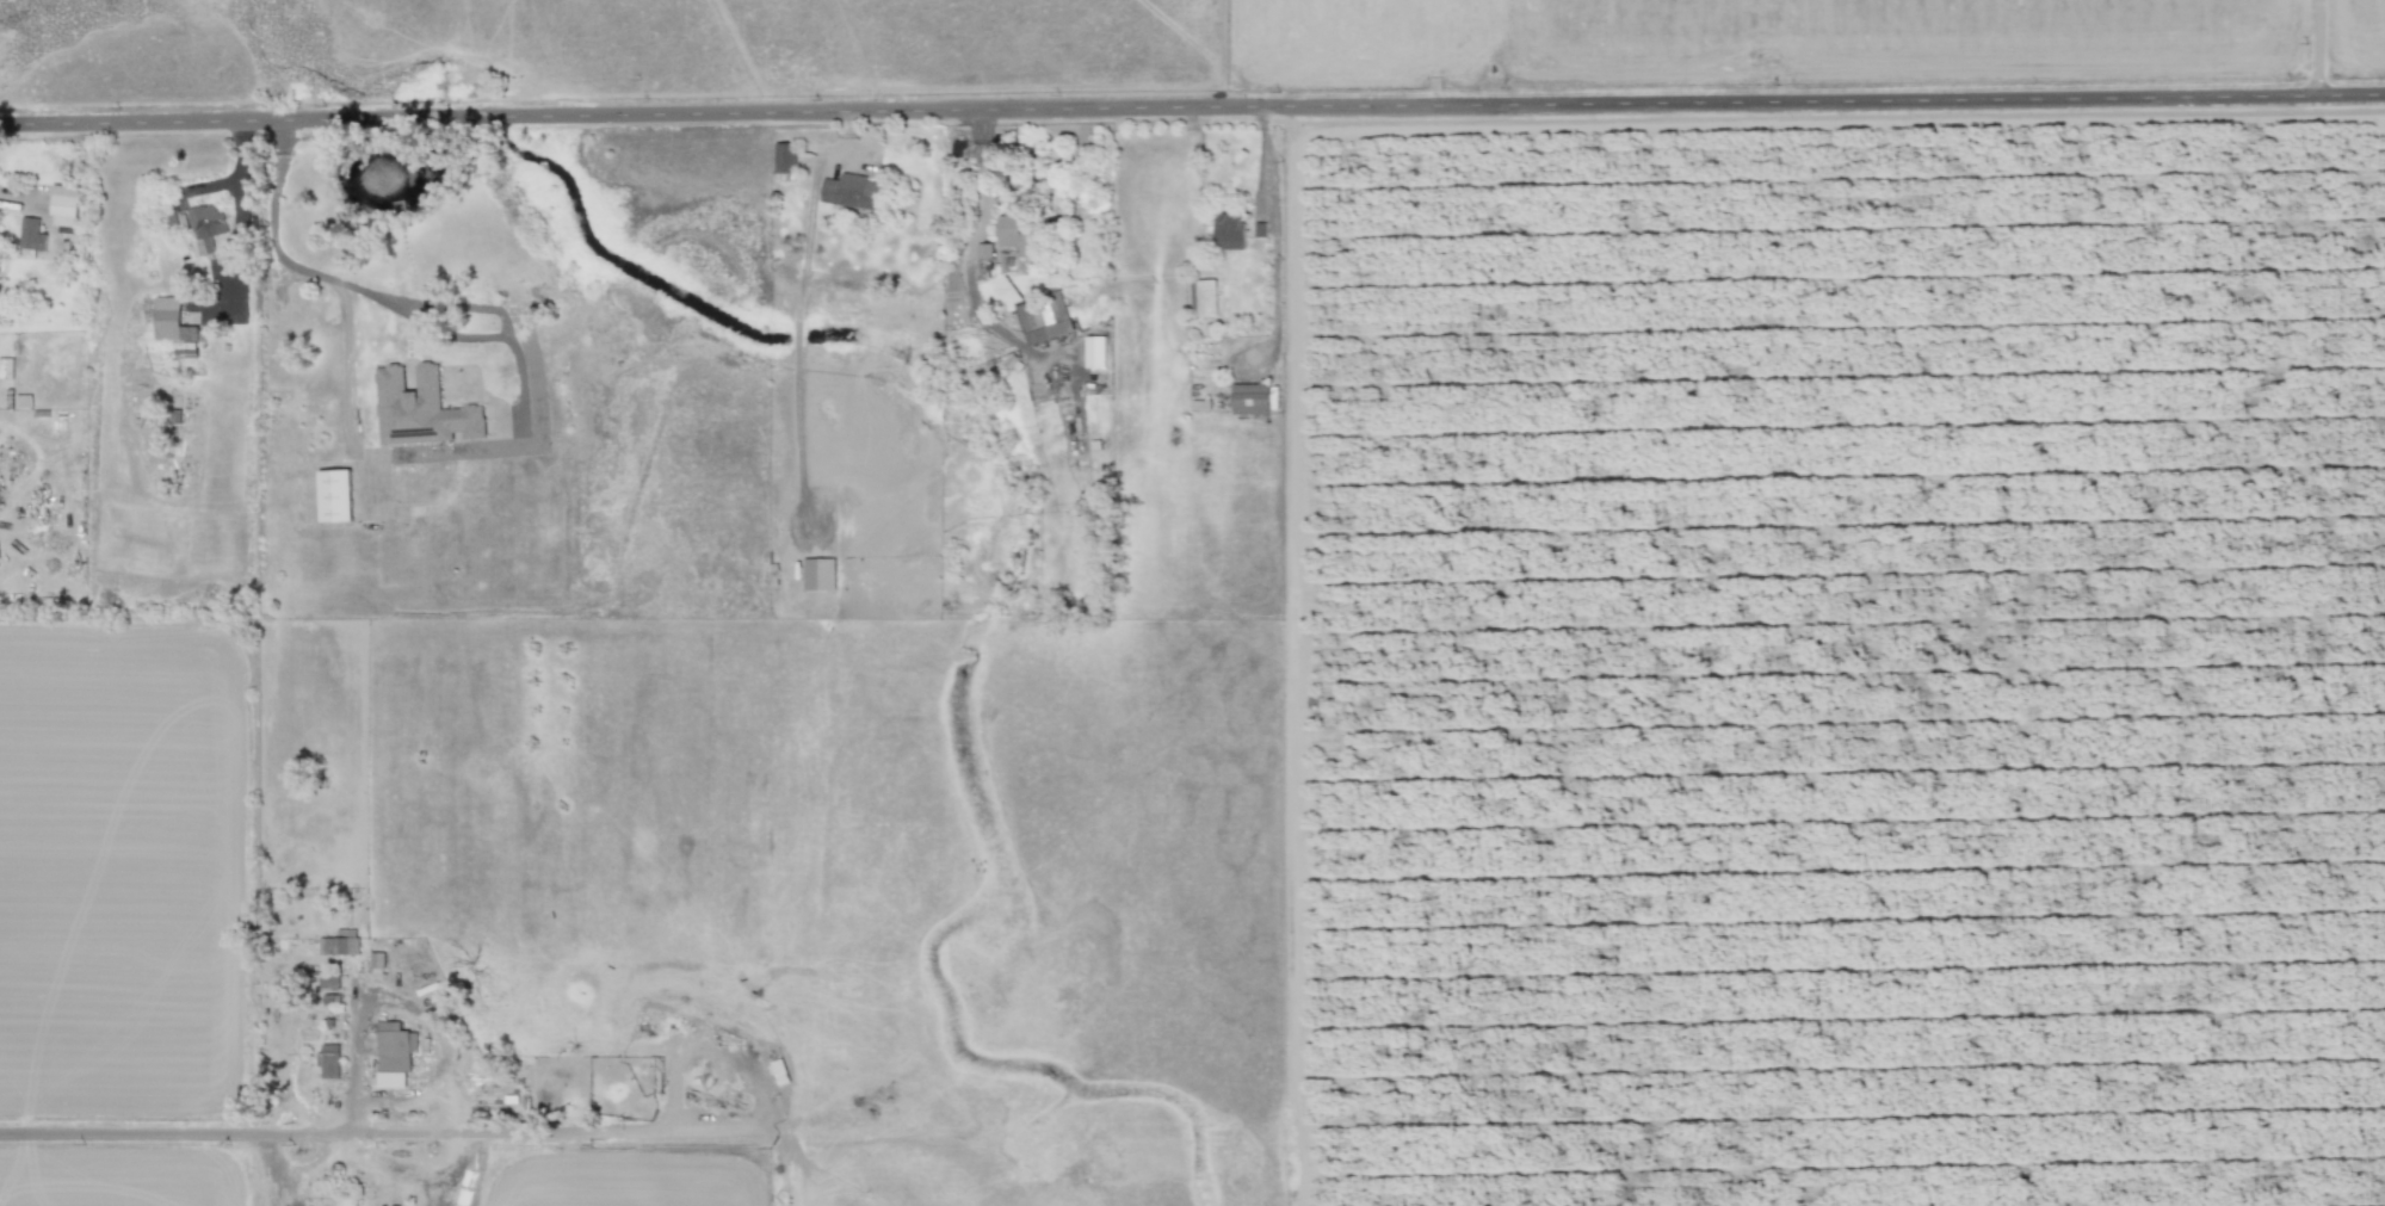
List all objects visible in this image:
building: (1287, 12)
road: (2319, 47)
road: (1192, 106)
building: (785, 157)
building: (848, 191)
building: (64, 205)
road: (241, 216)
building: (205, 227)
building: (1229, 230)
road: (1268, 230)
building: (1015, 235)
building: (30, 237)
road: (970, 248)
building: (984, 249)
road: (282, 252)
building: (1204, 297)
building: (1044, 317)
building: (1095, 352)
building: (6, 367)
building: (1250, 398)
building: (421, 408)
building: (335, 495)
building: (342, 942)
building: (394, 1053)
building: (329, 1060)
road: (387, 1136)

